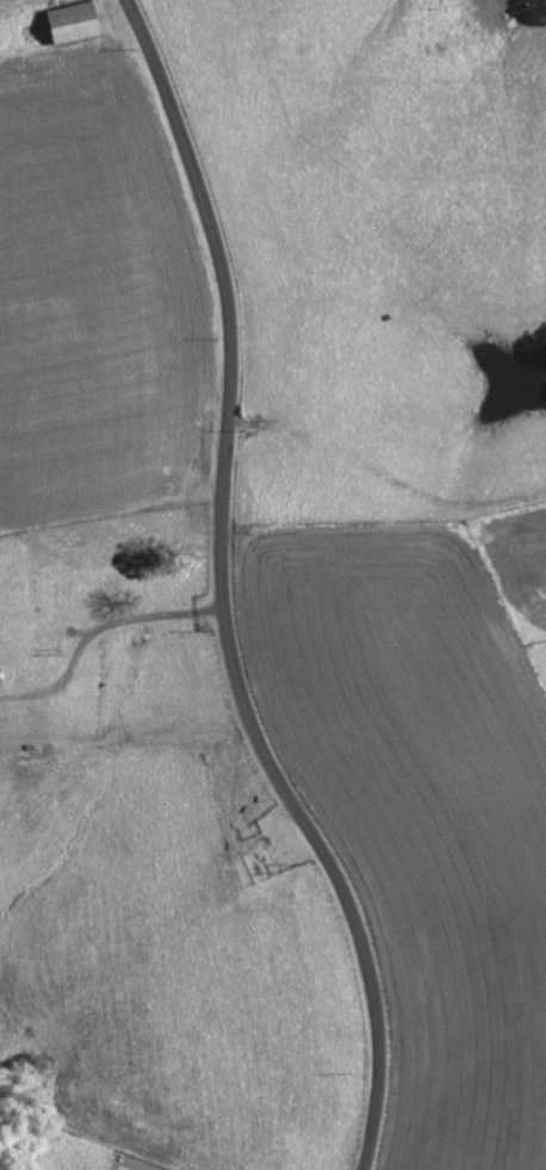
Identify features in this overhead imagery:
building: (69, 24)
road: (224, 593)
building: (256, 860)

